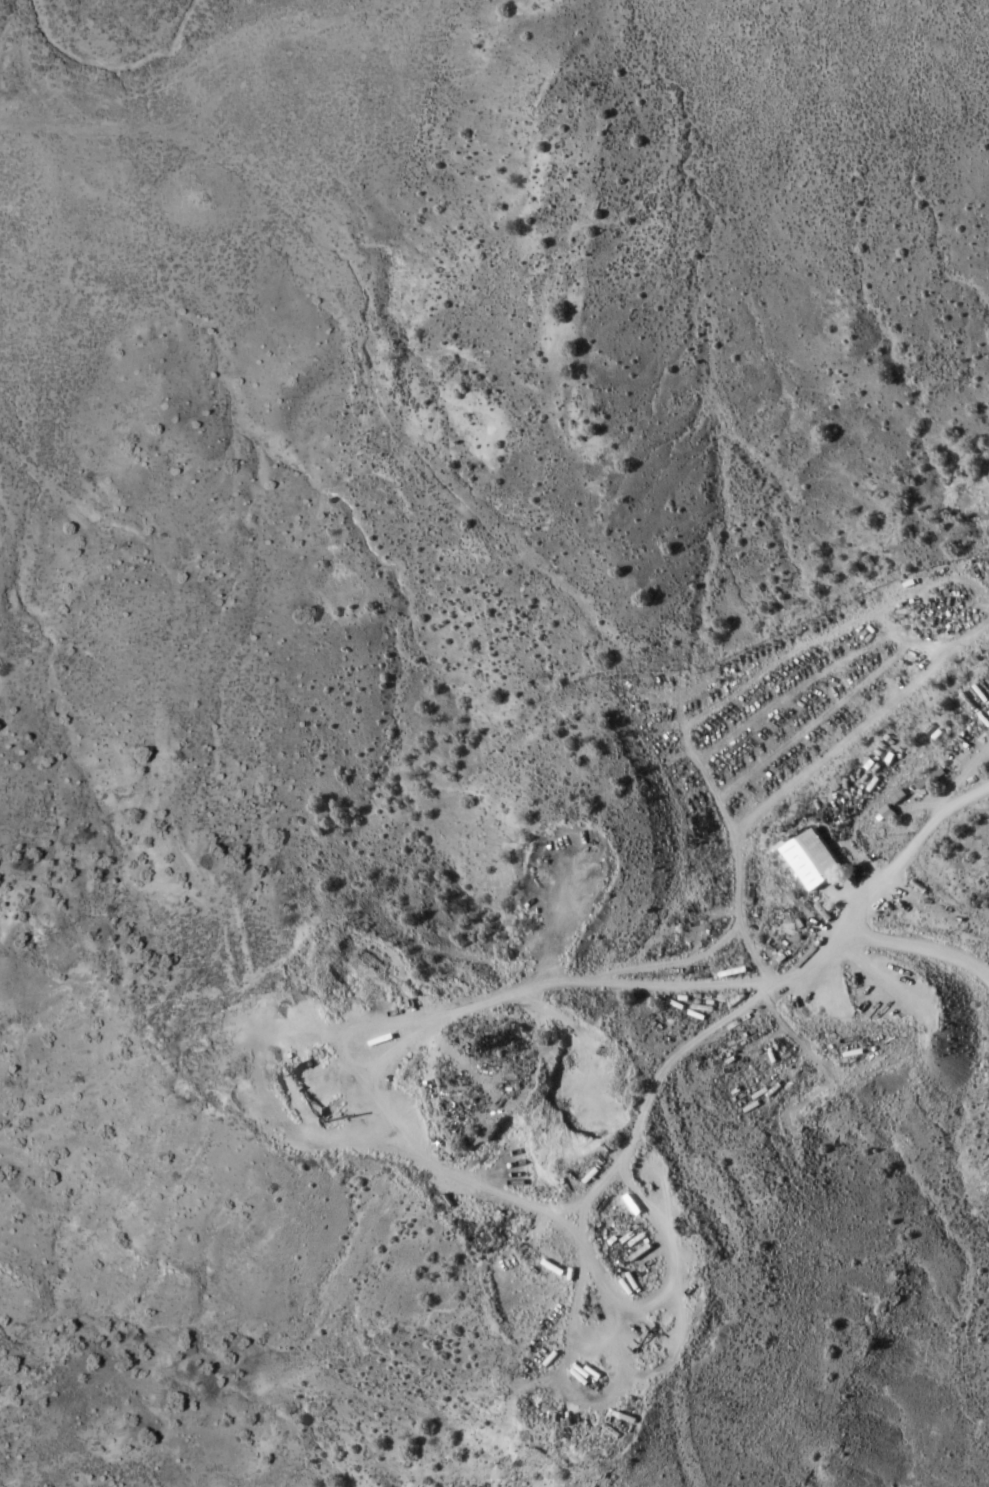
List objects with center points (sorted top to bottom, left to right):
building: (934, 780)
building: (902, 797)
building: (814, 859)
road: (920, 949)

